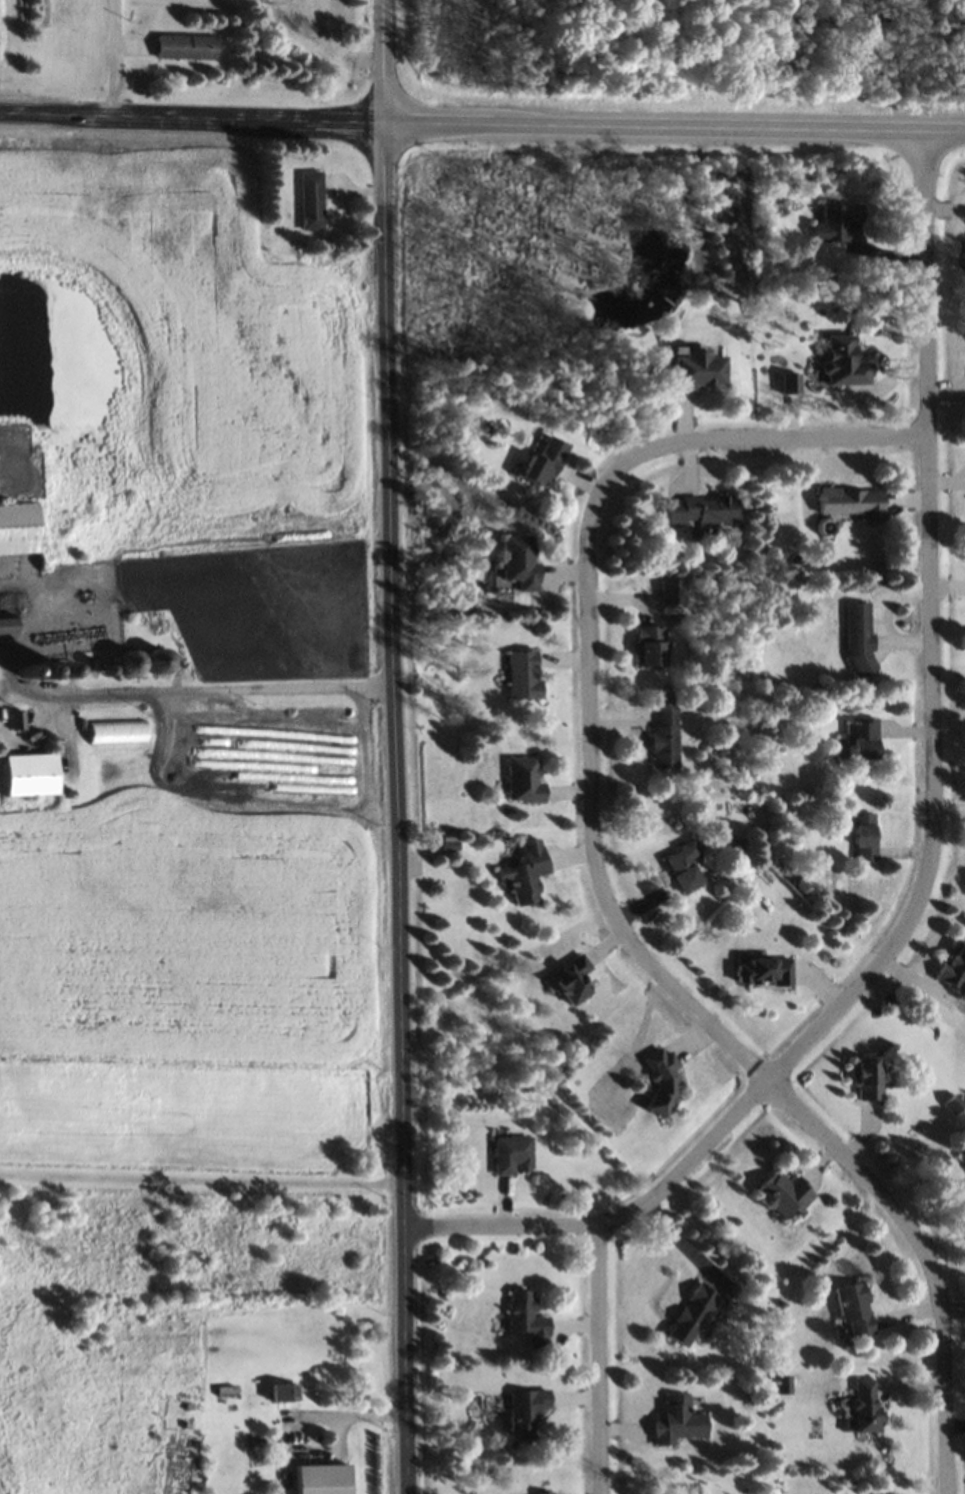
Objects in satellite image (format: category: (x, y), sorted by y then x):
building: (186, 46)
road: (482, 125)
building: (312, 200)
building: (838, 222)
building: (699, 370)
crop: (223, 391)
building: (544, 462)
building: (854, 502)
building: (704, 509)
building: (19, 529)
building: (521, 562)
building: (7, 626)
building: (860, 637)
road: (591, 643)
building: (652, 646)
building: (162, 662)
building: (132, 663)
building: (525, 673)
road: (197, 689)
building: (18, 720)
building: (666, 730)
building: (119, 733)
building: (862, 738)
road: (396, 747)
building: (31, 774)
building: (524, 780)
building: (865, 836)
road: (933, 843)
building: (683, 866)
building: (527, 872)
crop: (193, 921)
building: (954, 967)
building: (765, 971)
building: (572, 979)
building: (869, 1079)
building: (663, 1081)
building: (955, 1103)
building: (512, 1155)
building: (962, 1157)
road: (203, 1176)
building: (783, 1194)
road: (926, 1258)
building: (854, 1310)
building: (692, 1314)
building: (527, 1318)
road: (601, 1358)
building: (783, 1384)
building: (286, 1392)
building: (864, 1405)
building: (526, 1408)
building: (675, 1419)
building: (323, 1478)
building: (544, 1492)

